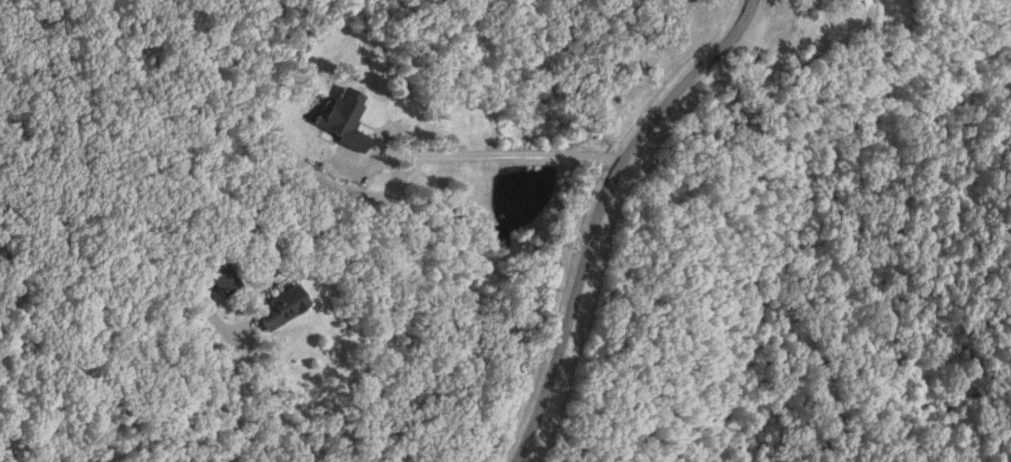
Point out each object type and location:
road: (599, 211)
road: (237, 398)

